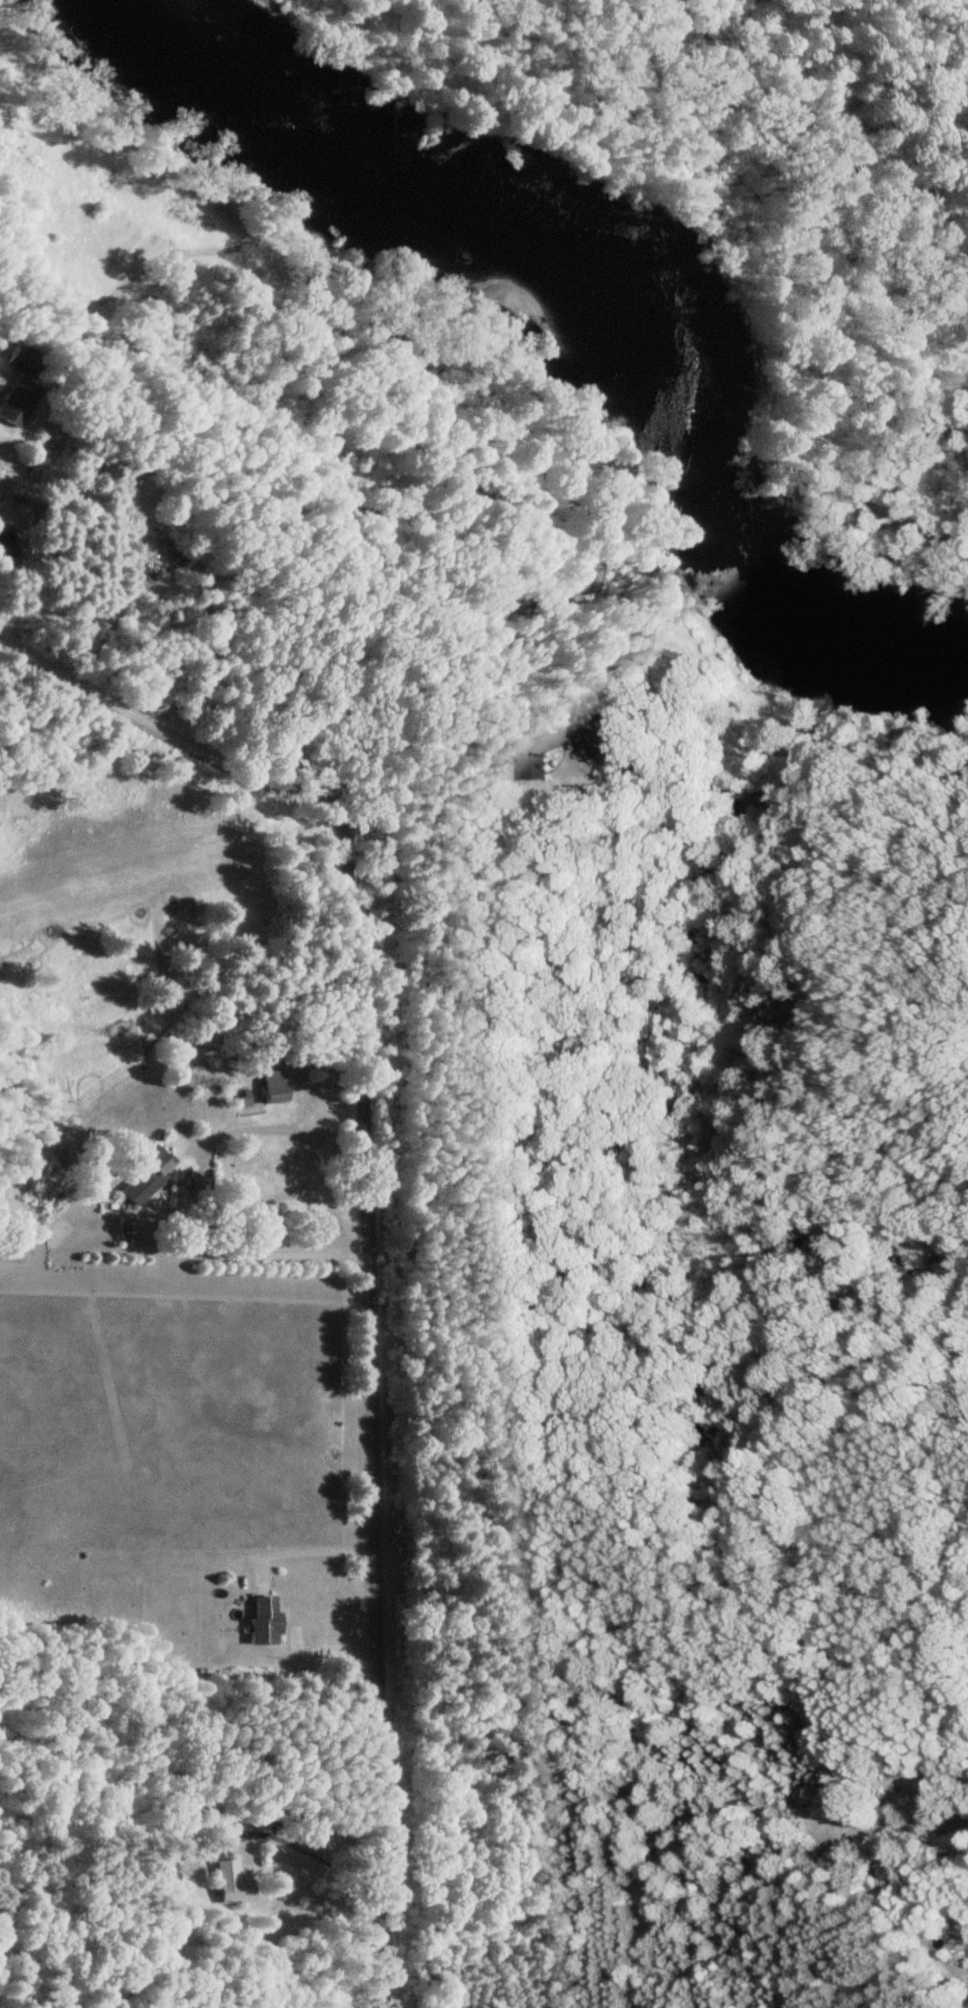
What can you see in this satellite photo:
river: (596, 301)
building: (17, 385)
road: (167, 727)
road: (634, 914)
building: (270, 1088)
road: (411, 1125)
building: (144, 1176)
road: (271, 1252)
road: (381, 1418)
road: (319, 1549)
building: (262, 1621)
building: (221, 1881)

